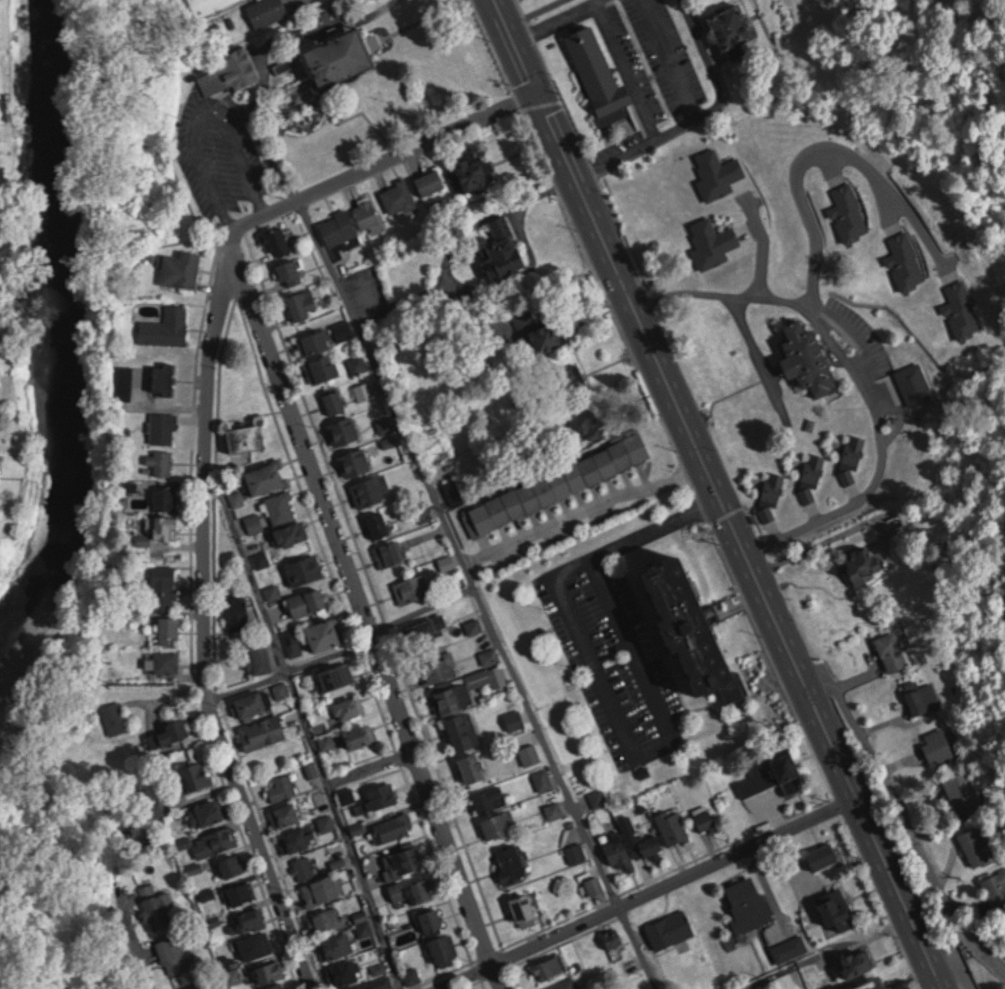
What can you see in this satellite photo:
building: (207, 5)
building: (266, 10)
road: (556, 17)
road: (289, 24)
building: (729, 28)
road: (668, 56)
building: (340, 58)
building: (593, 65)
road: (624, 65)
building: (227, 69)
road: (203, 121)
road: (815, 151)
road: (620, 152)
road: (384, 158)
building: (470, 174)
building: (431, 181)
building: (398, 196)
building: (369, 213)
building: (730, 229)
building: (340, 232)
building: (276, 240)
road: (763, 241)
building: (503, 248)
building: (181, 268)
building: (291, 272)
building: (303, 304)
river: (66, 326)
building: (167, 326)
building: (541, 333)
building: (314, 343)
building: (809, 357)
building: (358, 363)
building: (323, 368)
road: (861, 372)
building: (164, 378)
building: (568, 380)
building: (910, 385)
building: (364, 390)
building: (335, 399)
building: (587, 422)
building: (385, 425)
building: (164, 426)
building: (344, 431)
building: (246, 437)
building: (391, 440)
building: (855, 449)
building: (161, 461)
building: (355, 462)
building: (815, 466)
building: (265, 478)
building: (557, 483)
building: (774, 484)
building: (459, 488)
building: (372, 490)
building: (166, 496)
road: (722, 496)
building: (281, 507)
road: (583, 509)
building: (254, 522)
building: (379, 524)
building: (164, 526)
building: (292, 533)
road: (818, 539)
building: (390, 553)
building: (261, 559)
building: (862, 563)
building: (305, 569)
building: (165, 586)
building: (412, 588)
building: (273, 590)
road: (476, 593)
building: (308, 602)
building: (237, 609)
road: (361, 609)
road: (205, 617)
building: (429, 624)
building: (169, 628)
building: (693, 630)
building: (324, 634)
building: (292, 641)
road: (341, 648)
building: (891, 651)
building: (490, 654)
building: (259, 656)
building: (166, 661)
building: (438, 668)
building: (335, 674)
building: (488, 675)
road: (607, 691)
building: (452, 696)
building: (923, 698)
building: (253, 702)
building: (349, 706)
road: (306, 726)
building: (263, 730)
building: (462, 730)
building: (168, 732)
building: (360, 734)
building: (938, 746)
building: (474, 767)
road: (370, 768)
building: (195, 775)
building: (774, 775)
road: (889, 775)
building: (543, 778)
building: (282, 786)
building: (963, 793)
building: (381, 794)
building: (597, 796)
building: (490, 798)
building: (554, 808)
building: (209, 810)
building: (285, 813)
building: (327, 818)
building: (706, 820)
building: (497, 823)
building: (673, 824)
building: (393, 825)
building: (298, 837)
building: (215, 840)
building: (647, 844)
building: (976, 844)
building: (576, 851)
building: (620, 852)
building: (823, 855)
building: (402, 859)
building: (512, 861)
building: (234, 863)
building: (304, 865)
building: (595, 883)
building: (996, 886)
building: (322, 888)
building: (413, 889)
building: (241, 892)
road: (642, 892)
building: (747, 903)
building: (157, 905)
building: (525, 908)
building: (836, 908)
building: (327, 916)
building: (250, 917)
building: (431, 917)
building: (365, 926)
building: (672, 926)
building: (613, 935)
building: (253, 944)
building: (335, 944)
road: (136, 946)
building: (790, 947)
building: (445, 948)
road: (827, 951)
building: (176, 952)
building: (857, 961)
road: (943, 962)
building: (550, 965)
building: (270, 969)
building: (343, 970)
building: (566, 983)
building: (868, 983)
building: (373, 984)
building: (277, 985)
building: (195, 986)

